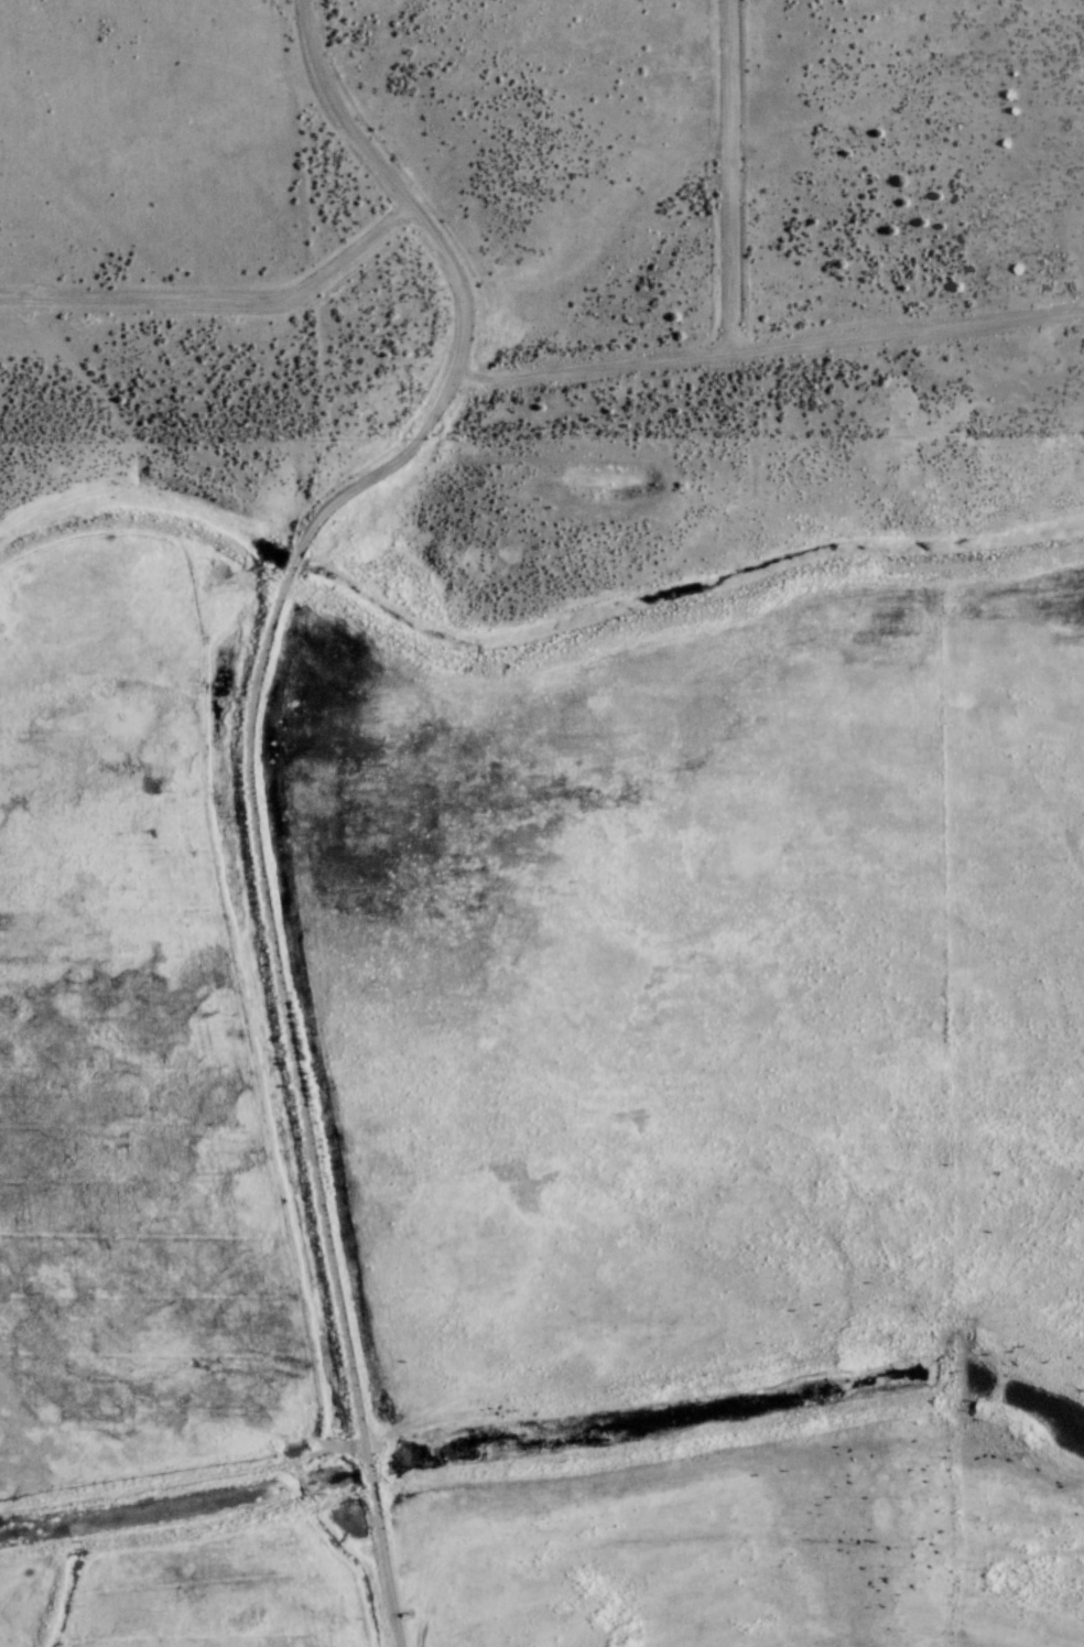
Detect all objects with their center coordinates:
road: (735, 178)
road: (462, 291)
road: (223, 307)
road: (770, 353)
road: (304, 1101)

